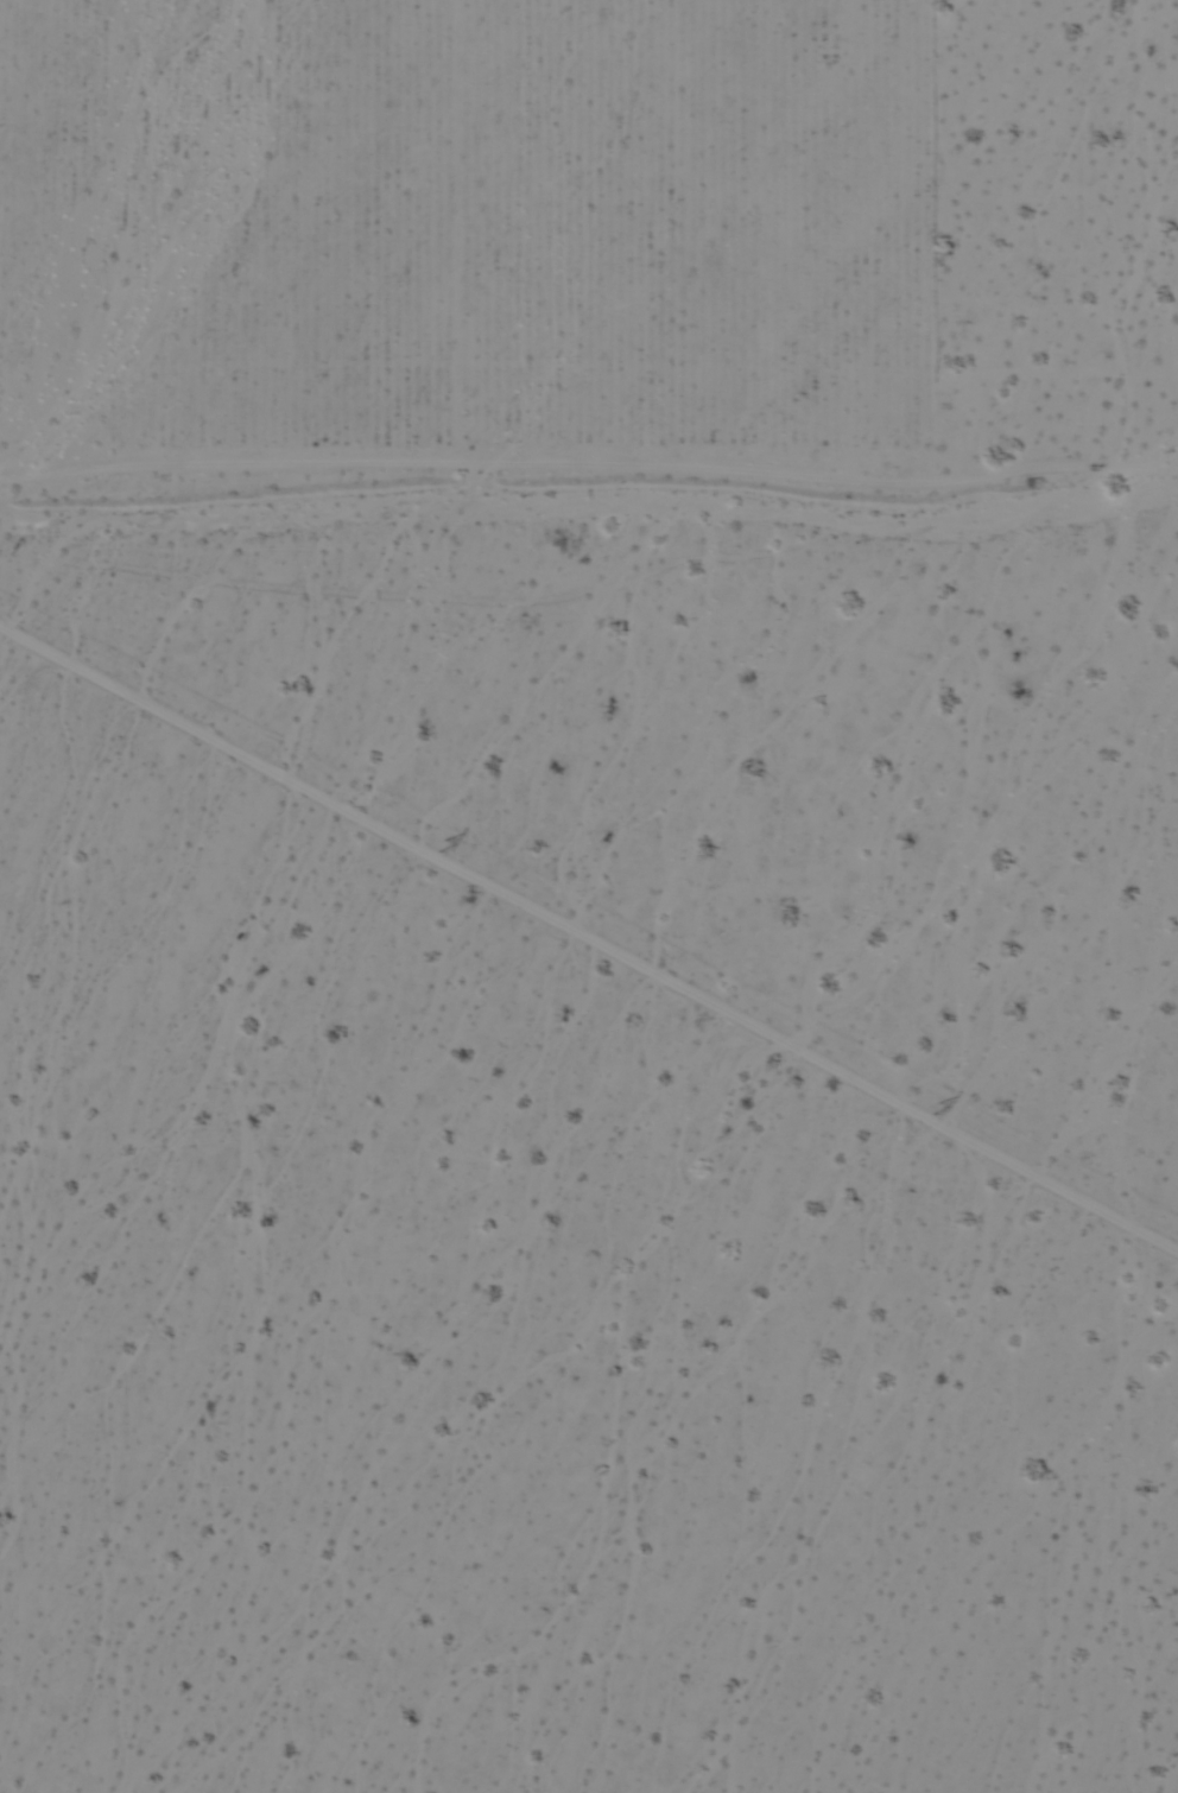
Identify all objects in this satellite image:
crop: (464, 222)
power tower: (442, 843)
power tower: (935, 1104)

